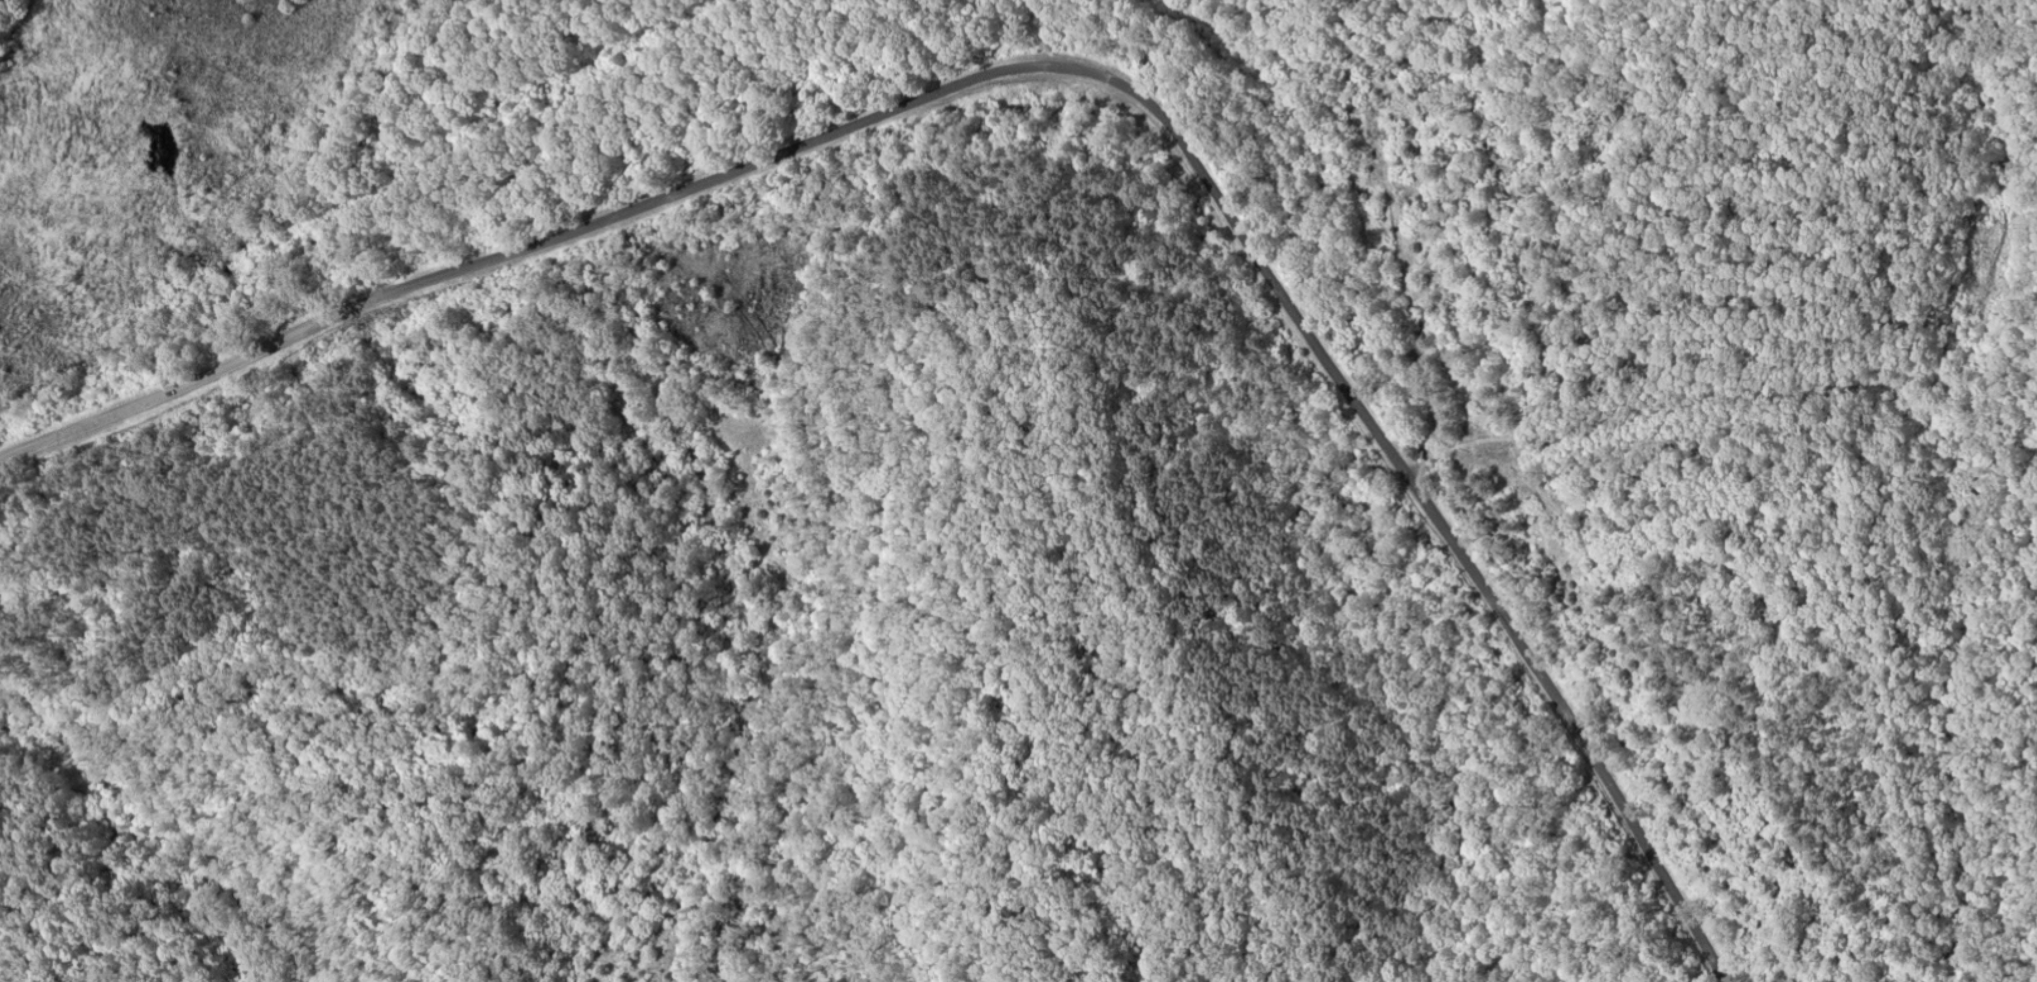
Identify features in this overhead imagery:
road: (1068, 67)

